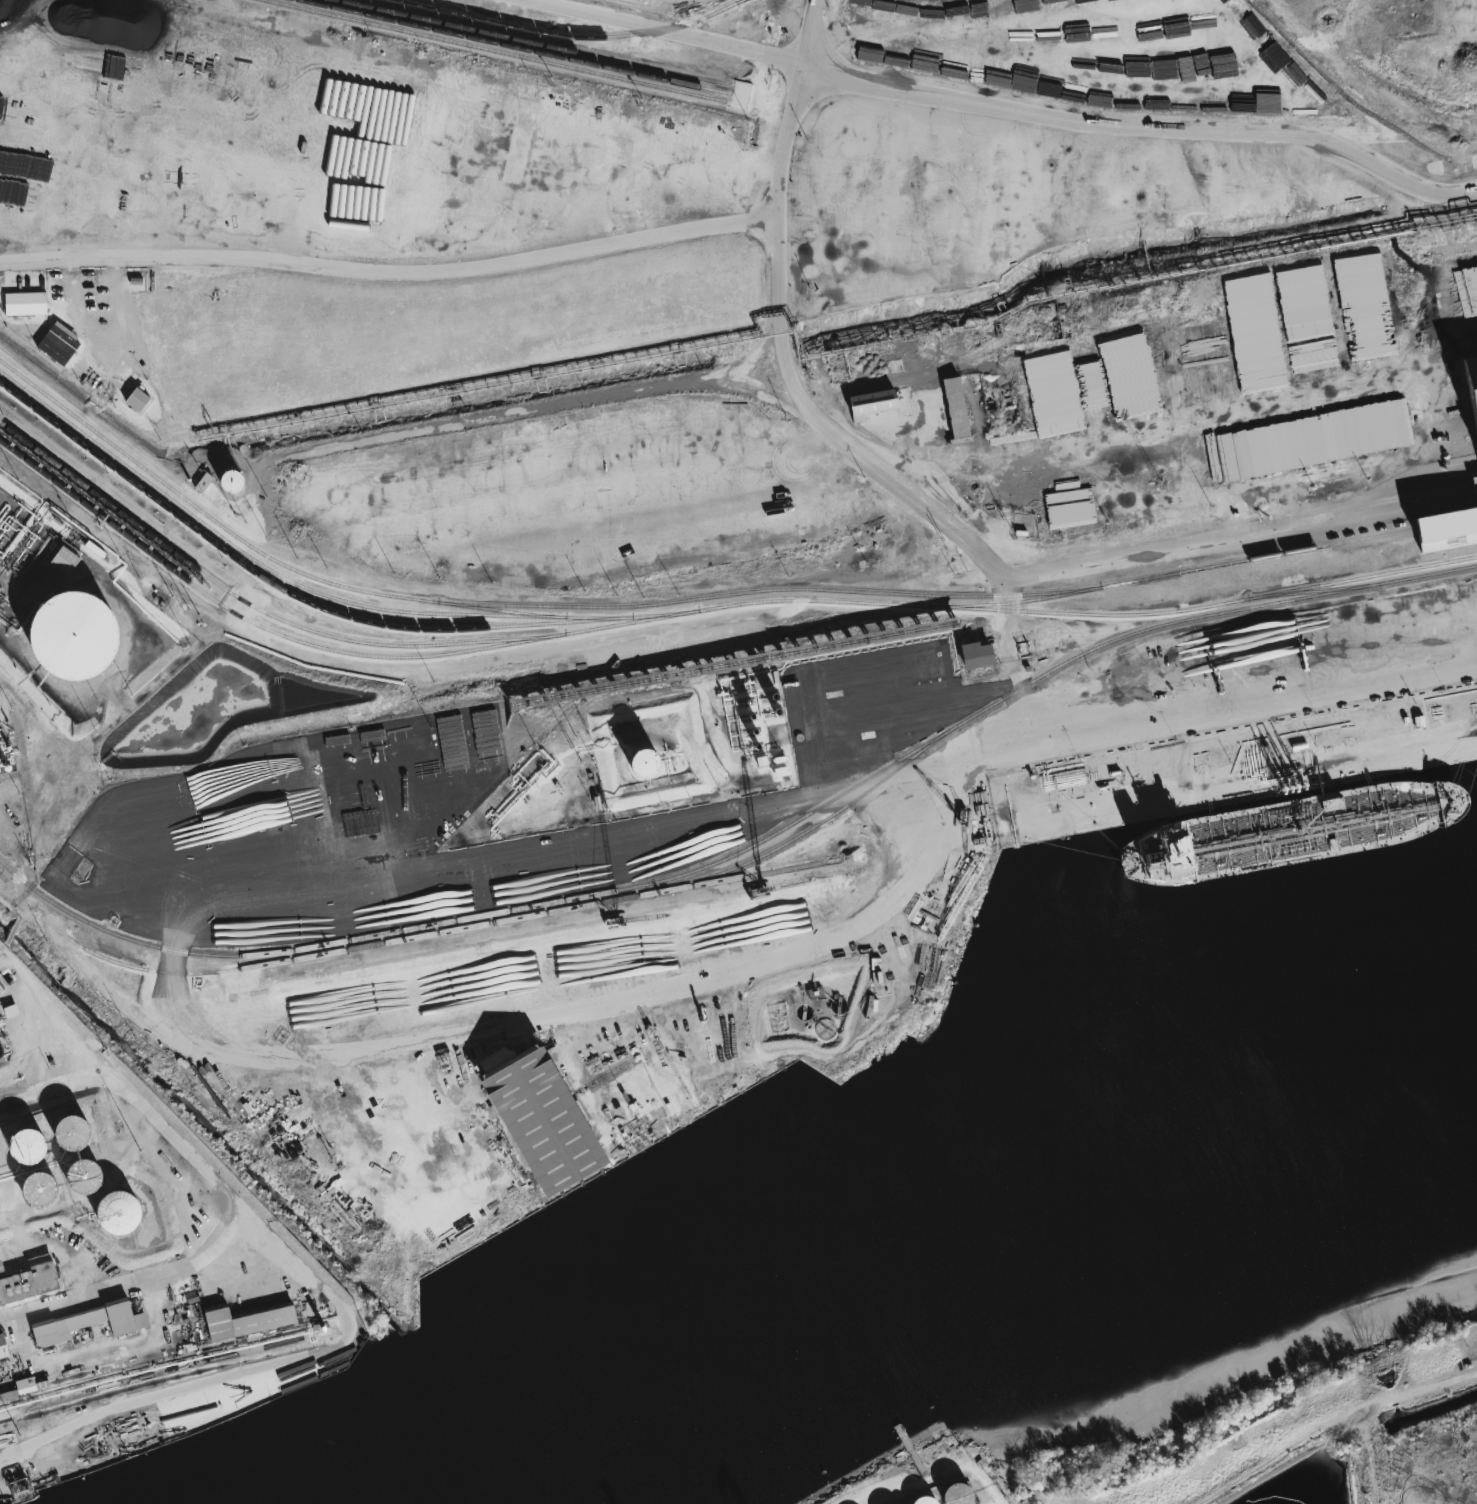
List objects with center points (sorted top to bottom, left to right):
building: (640, 1)
railway: (741, 1)
railway: (464, 12)
road: (662, 31)
road: (807, 32)
railway: (570, 36)
railway: (535, 43)
railway: (514, 47)
railway: (495, 51)
road: (287, 61)
road: (390, 273)
building: (1356, 274)
building: (26, 304)
road: (94, 328)
building: (60, 344)
road: (751, 358)
road: (914, 377)
building: (1472, 382)
building: (1092, 384)
building: (139, 400)
building: (876, 403)
road: (546, 407)
building: (959, 407)
building: (3, 417)
road: (1152, 431)
building: (1361, 431)
building: (1187, 464)
building: (235, 482)
road: (603, 483)
building: (1438, 528)
road: (1239, 546)
building: (67, 561)
railway: (255, 561)
railway: (284, 565)
railway: (1202, 568)
road: (239, 584)
railway: (283, 589)
road: (1002, 601)
railway: (255, 608)
railway: (1054, 612)
building: (77, 638)
storage tank: (77, 638)
railway: (319, 647)
building: (981, 656)
building: (920, 704)
road: (1253, 708)
building: (646, 765)
storage tank: (646, 765)
railway: (5, 853)
road: (397, 871)
railway: (419, 936)
building: (550, 1119)
building: (68, 1126)
building: (24, 1139)
building: (81, 1170)
building: (36, 1184)
building: (115, 1205)
road: (223, 1206)
building: (2, 1209)
river: (907, 1263)
building: (31, 1281)
building: (248, 1320)
building: (89, 1322)
building: (4, 1348)
road: (98, 1351)
building: (27, 1385)
building: (7, 1398)
road: (902, 1477)
road: (976, 1477)
building: (959, 1494)
building: (930, 1500)

